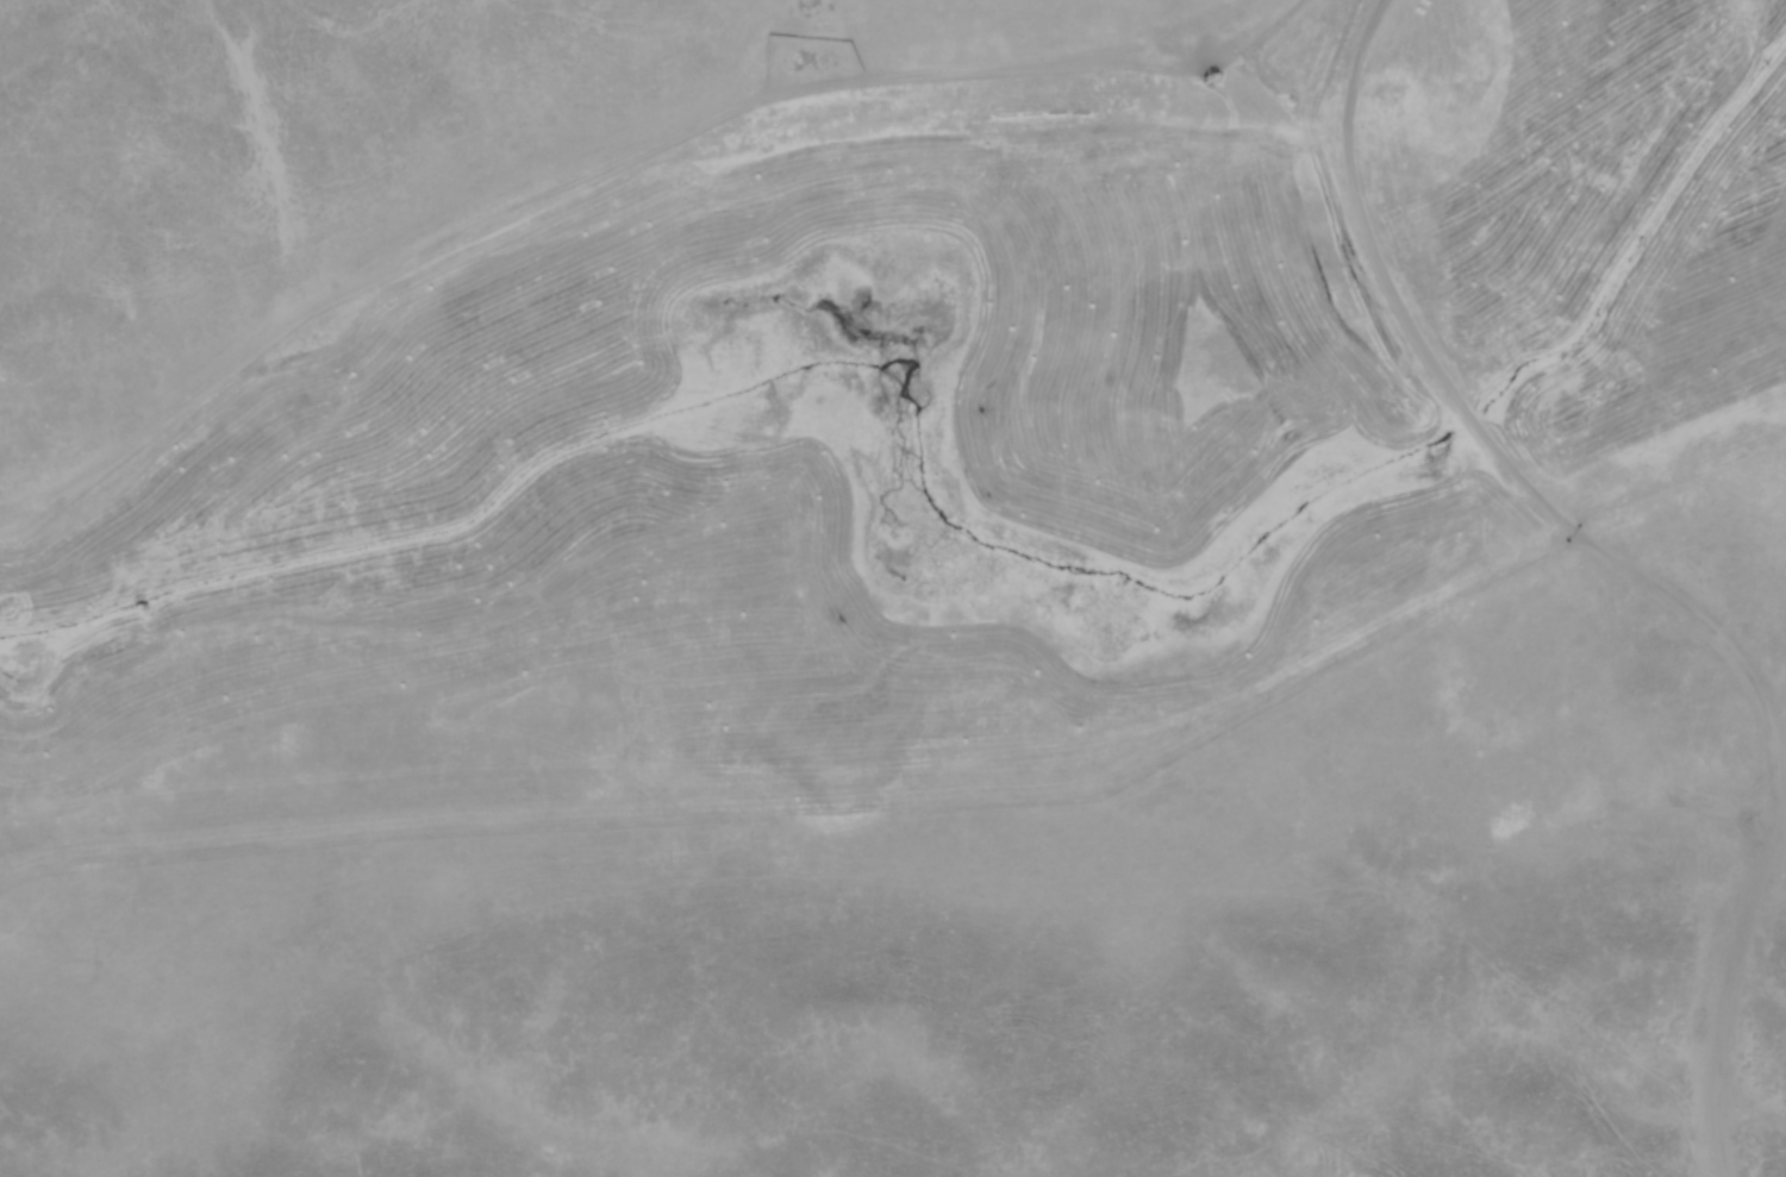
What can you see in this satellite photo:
road: (1492, 449)
road: (1778, 809)
road: (1723, 998)

